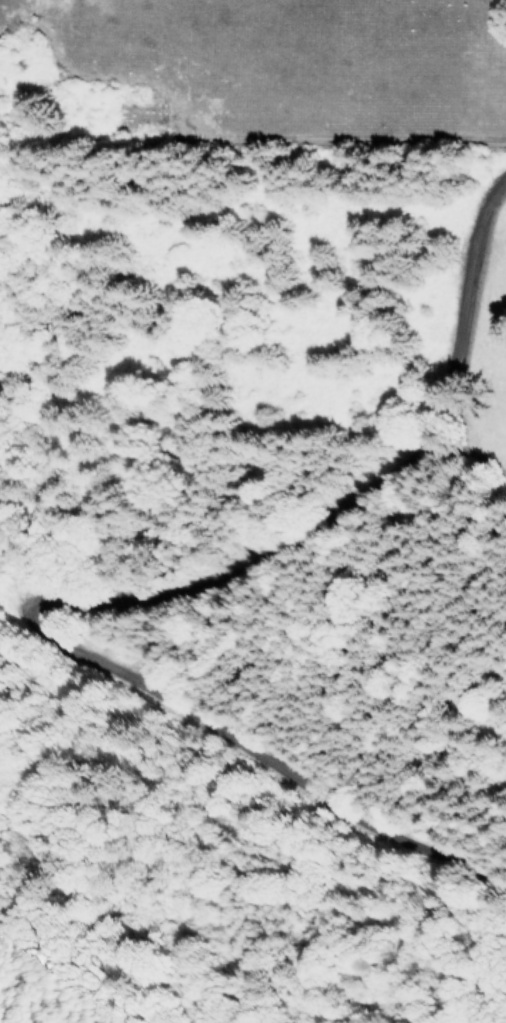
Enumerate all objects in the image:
road: (361, 145)
road: (117, 608)

